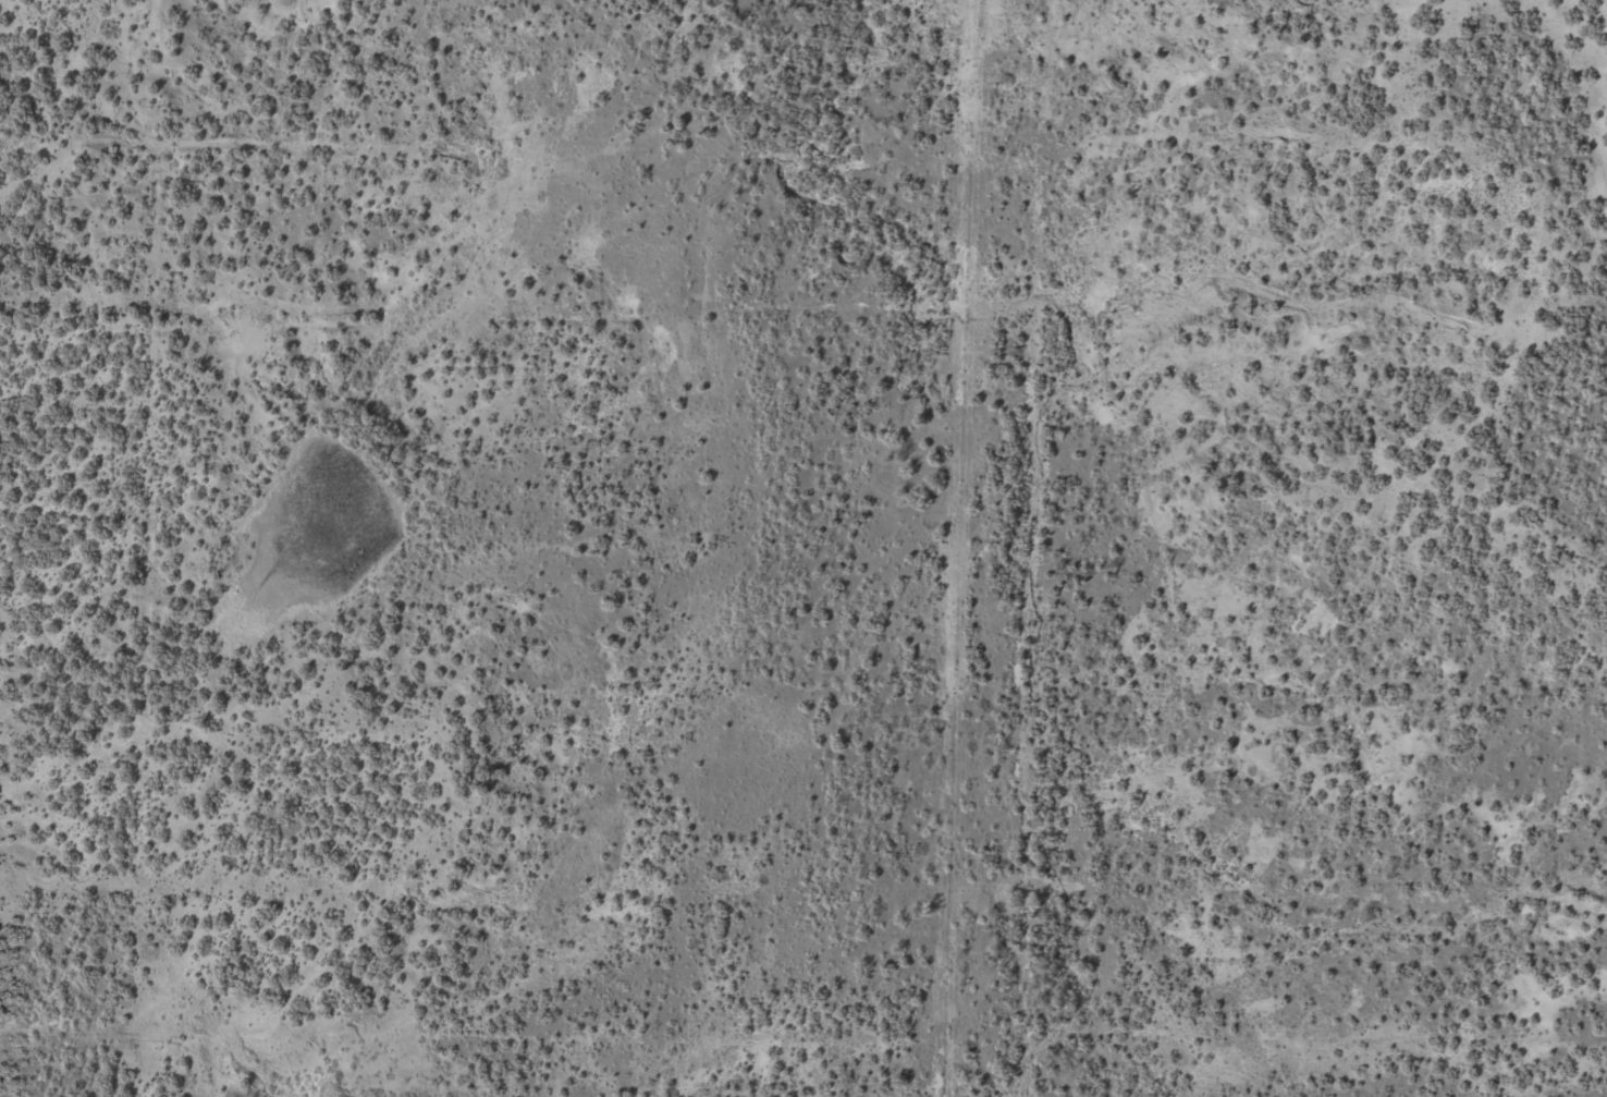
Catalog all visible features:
road: (102, 937)

